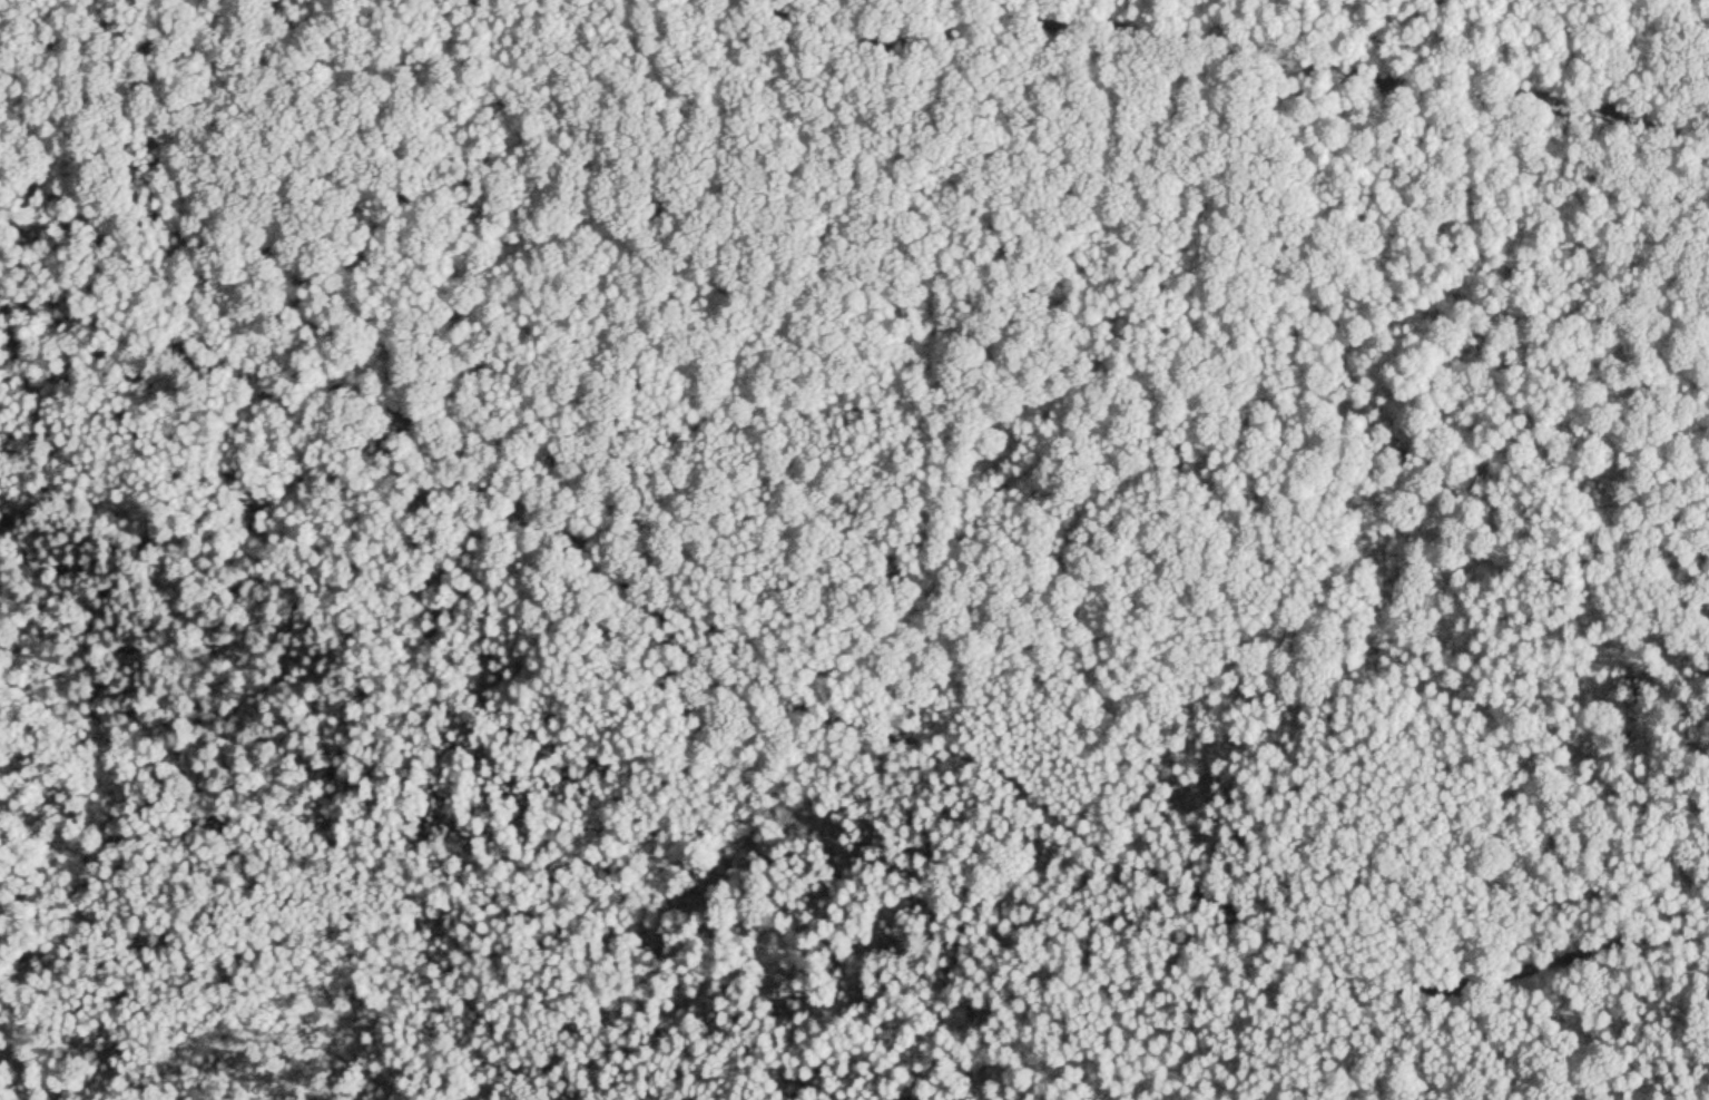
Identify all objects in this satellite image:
road: (1243, 40)
park: (854, 550)
park: (191, 857)
road: (1344, 969)

